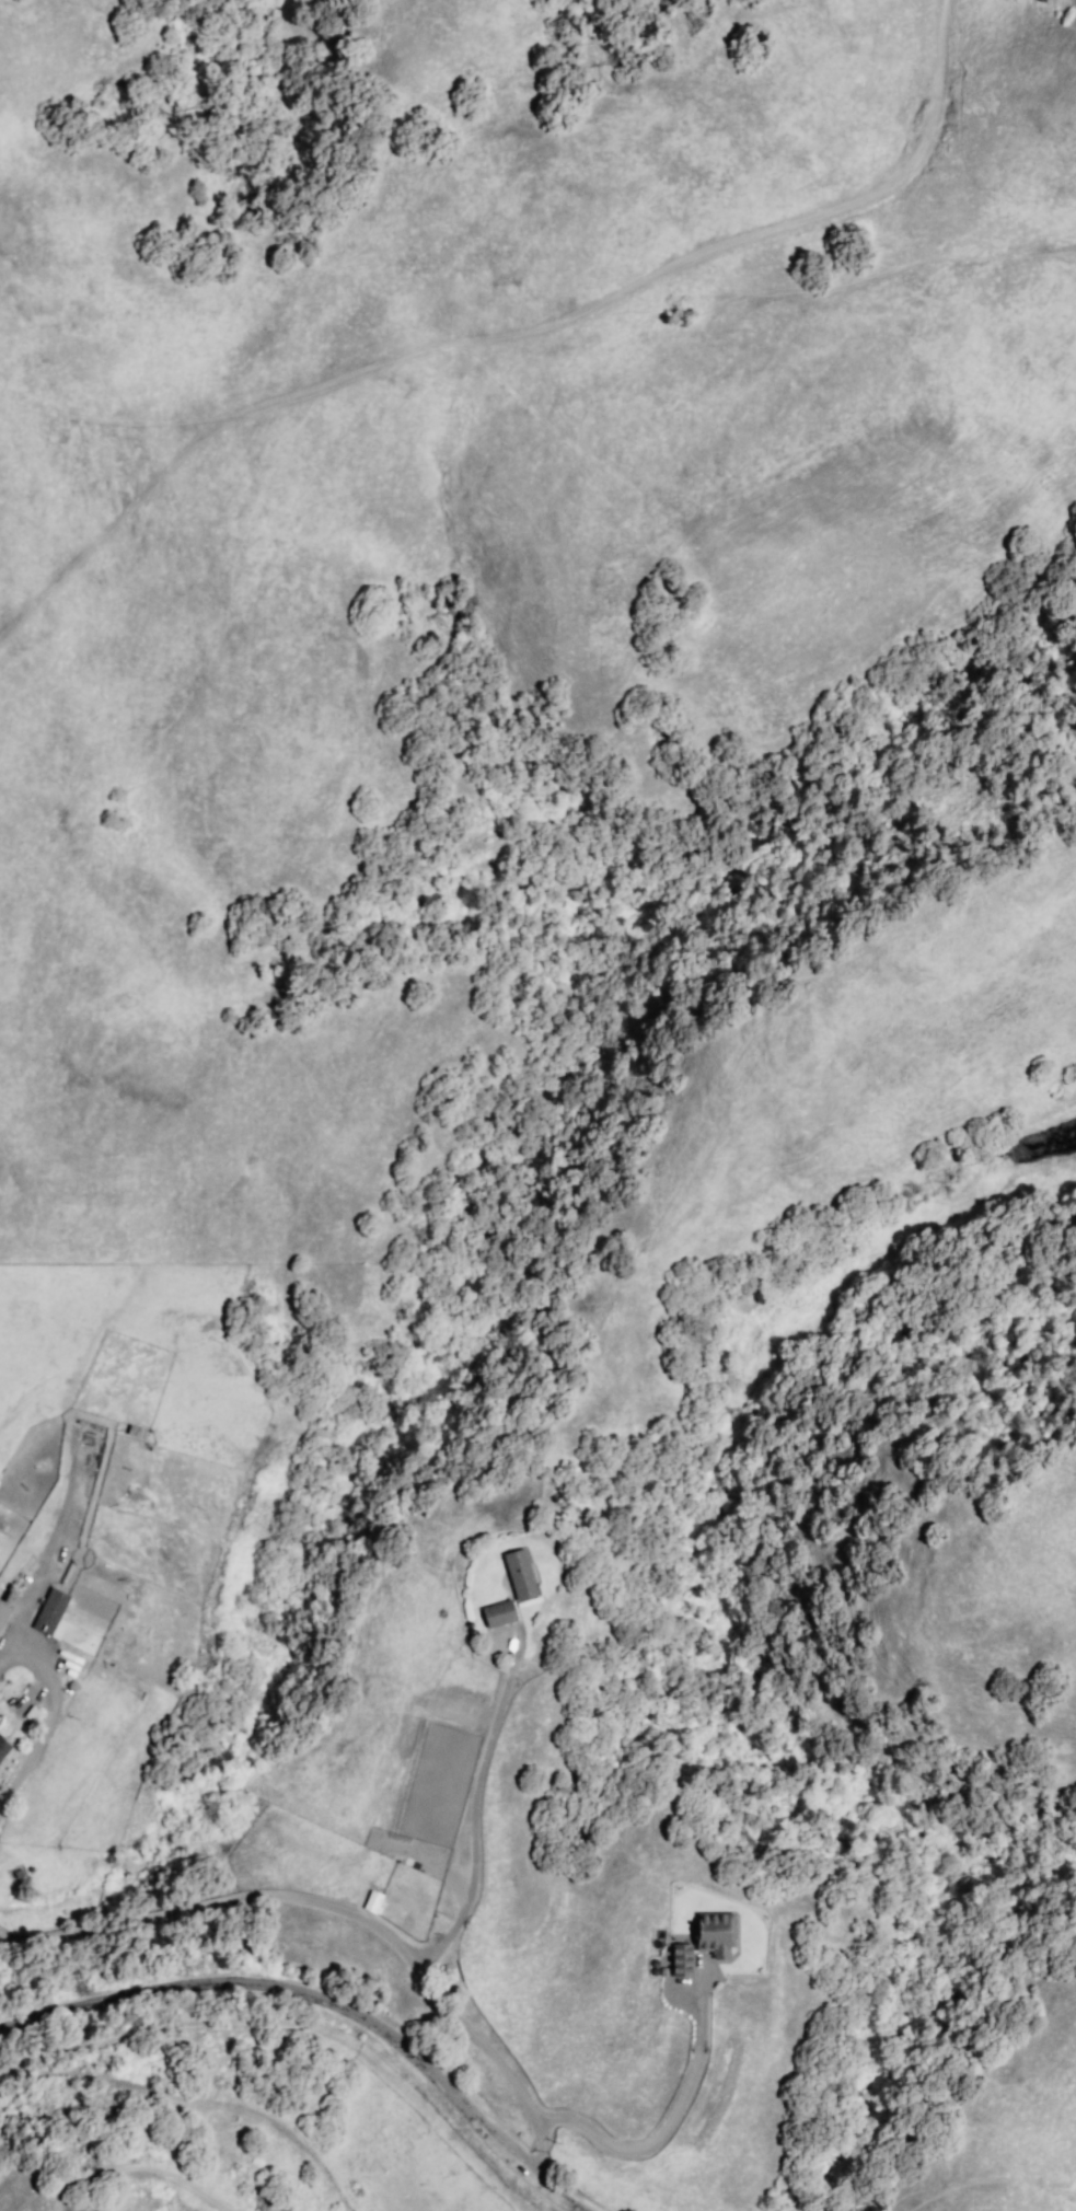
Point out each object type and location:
road: (519, 343)
building: (520, 1576)
building: (2, 1611)
building: (48, 1611)
building: (499, 1616)
road: (48, 1733)
road: (494, 1738)
building: (5, 1748)
building: (373, 1899)
road: (476, 1900)
road: (343, 1909)
building: (717, 1937)
building: (679, 1965)
road: (324, 1996)
road: (662, 2128)

